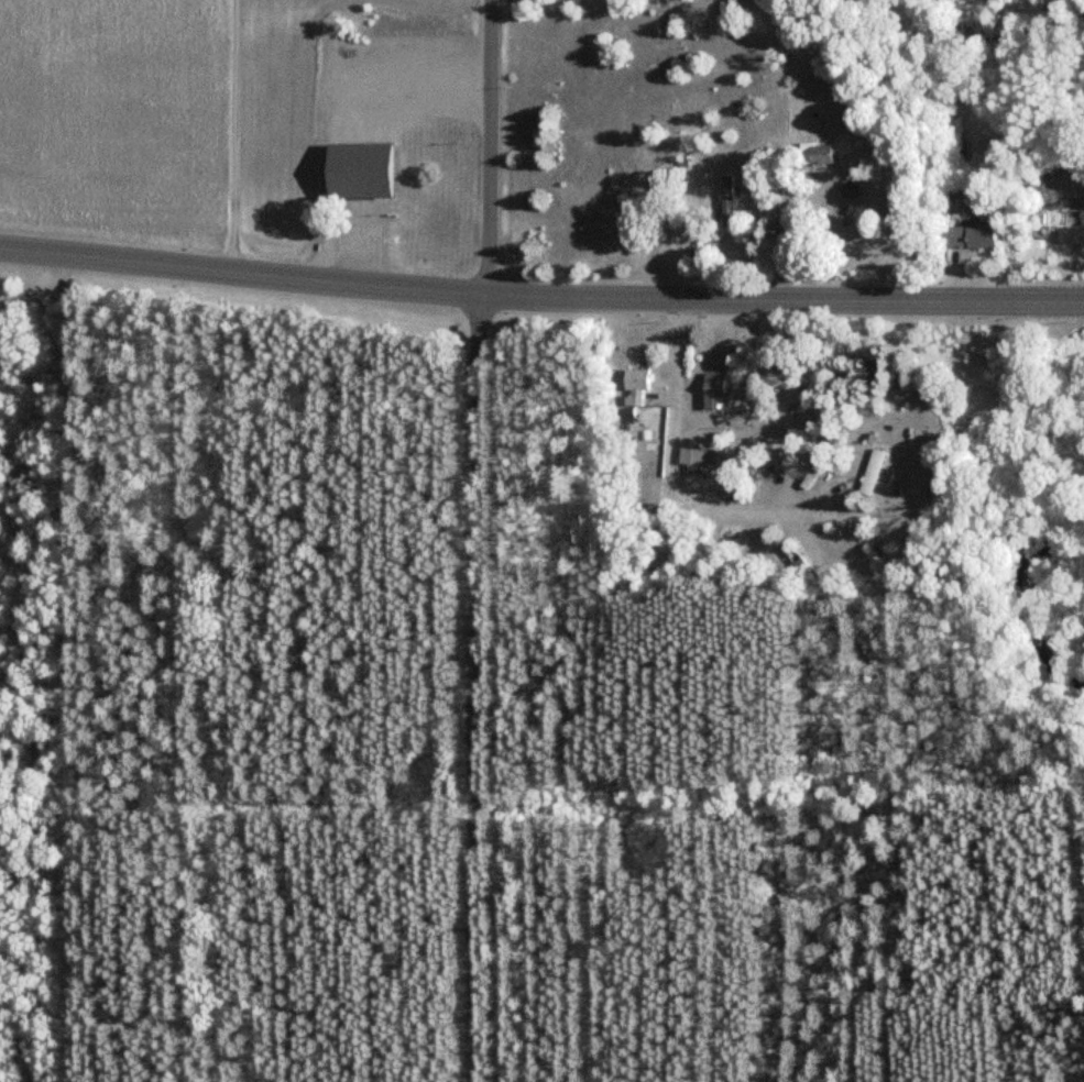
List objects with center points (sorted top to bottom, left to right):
road: (233, 136)
building: (813, 153)
building: (354, 167)
building: (845, 189)
building: (724, 201)
building: (964, 235)
road: (540, 296)
building: (633, 387)
building: (713, 390)
building: (694, 456)
building: (869, 471)
building: (809, 476)
road: (685, 485)
road: (479, 541)

